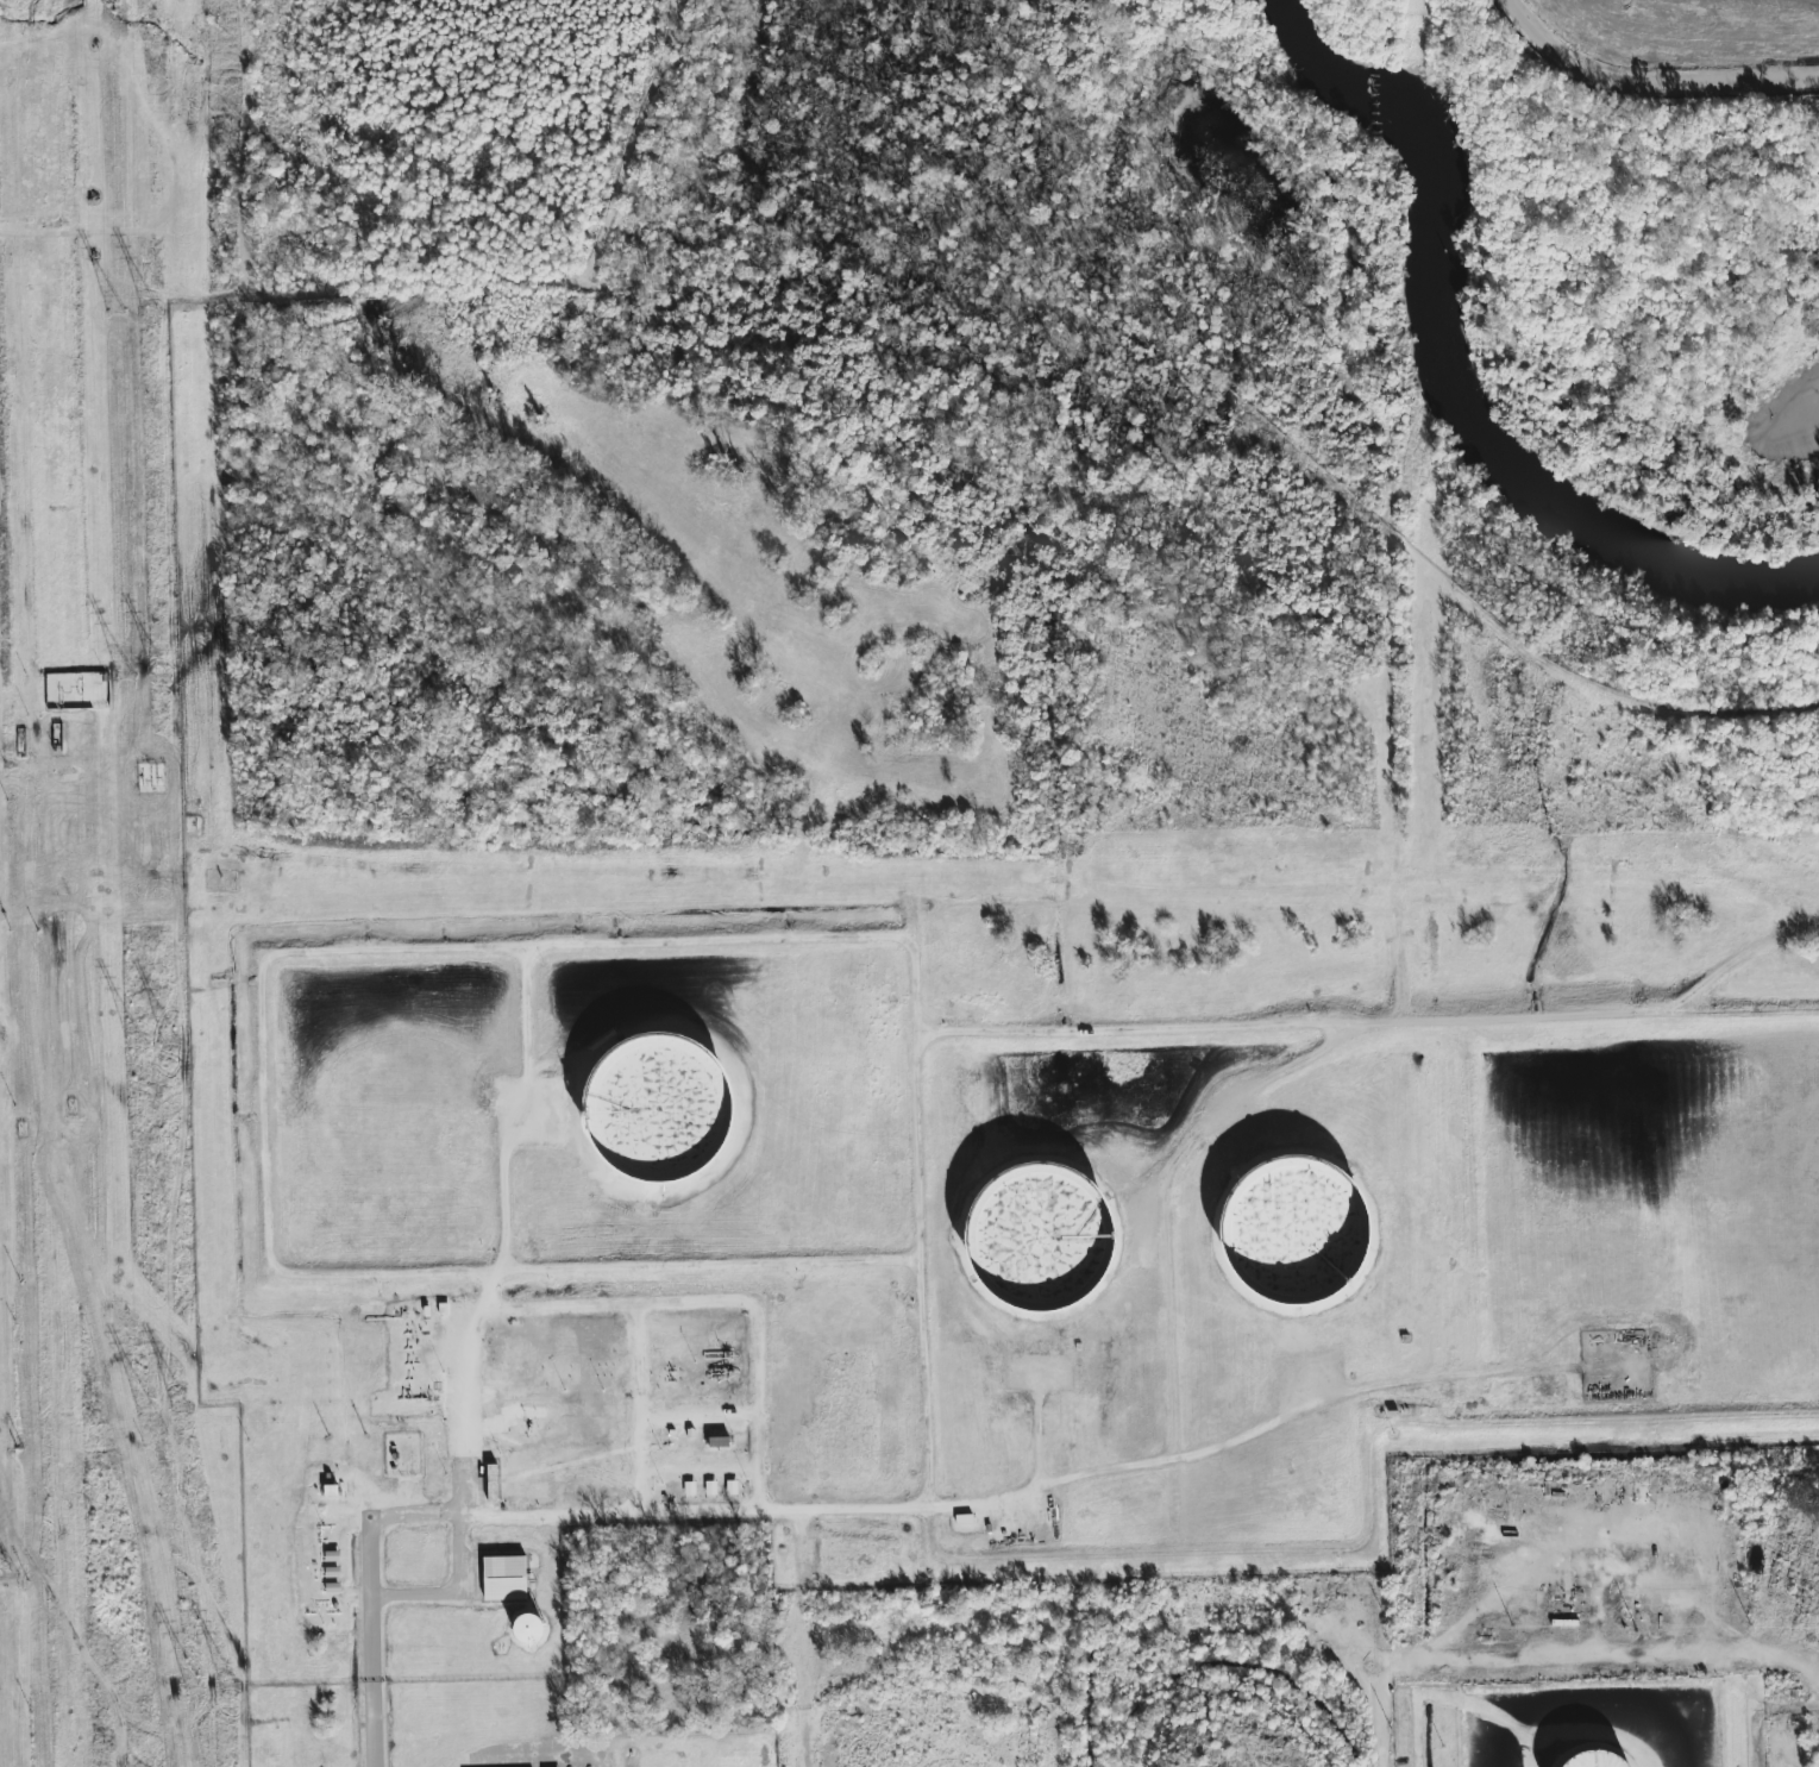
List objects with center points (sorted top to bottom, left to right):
road: (1645, 83)
power tower: (115, 326)
river: (1456, 380)
power tower: (130, 682)
building: (77, 690)
road: (1738, 964)
road: (532, 1011)
road: (1370, 1027)
power tower: (137, 1044)
road: (269, 1063)
road: (500, 1090)
building: (642, 1103)
road: (1215, 1116)
road: (923, 1149)
building: (1281, 1227)
building: (1024, 1230)
road: (493, 1287)
road: (469, 1305)
power tower: (143, 1409)
building: (711, 1441)
building: (685, 1487)
building: (707, 1487)
building: (727, 1487)
building: (1637, 1487)
building: (325, 1489)
road: (989, 1504)
road: (529, 1512)
building: (960, 1518)
road: (1288, 1552)
building: (500, 1577)
power tower: (7, 1593)
building: (519, 1628)
power tower: (193, 1691)
road: (1764, 1712)
road: (534, 1748)
building: (1583, 1759)

